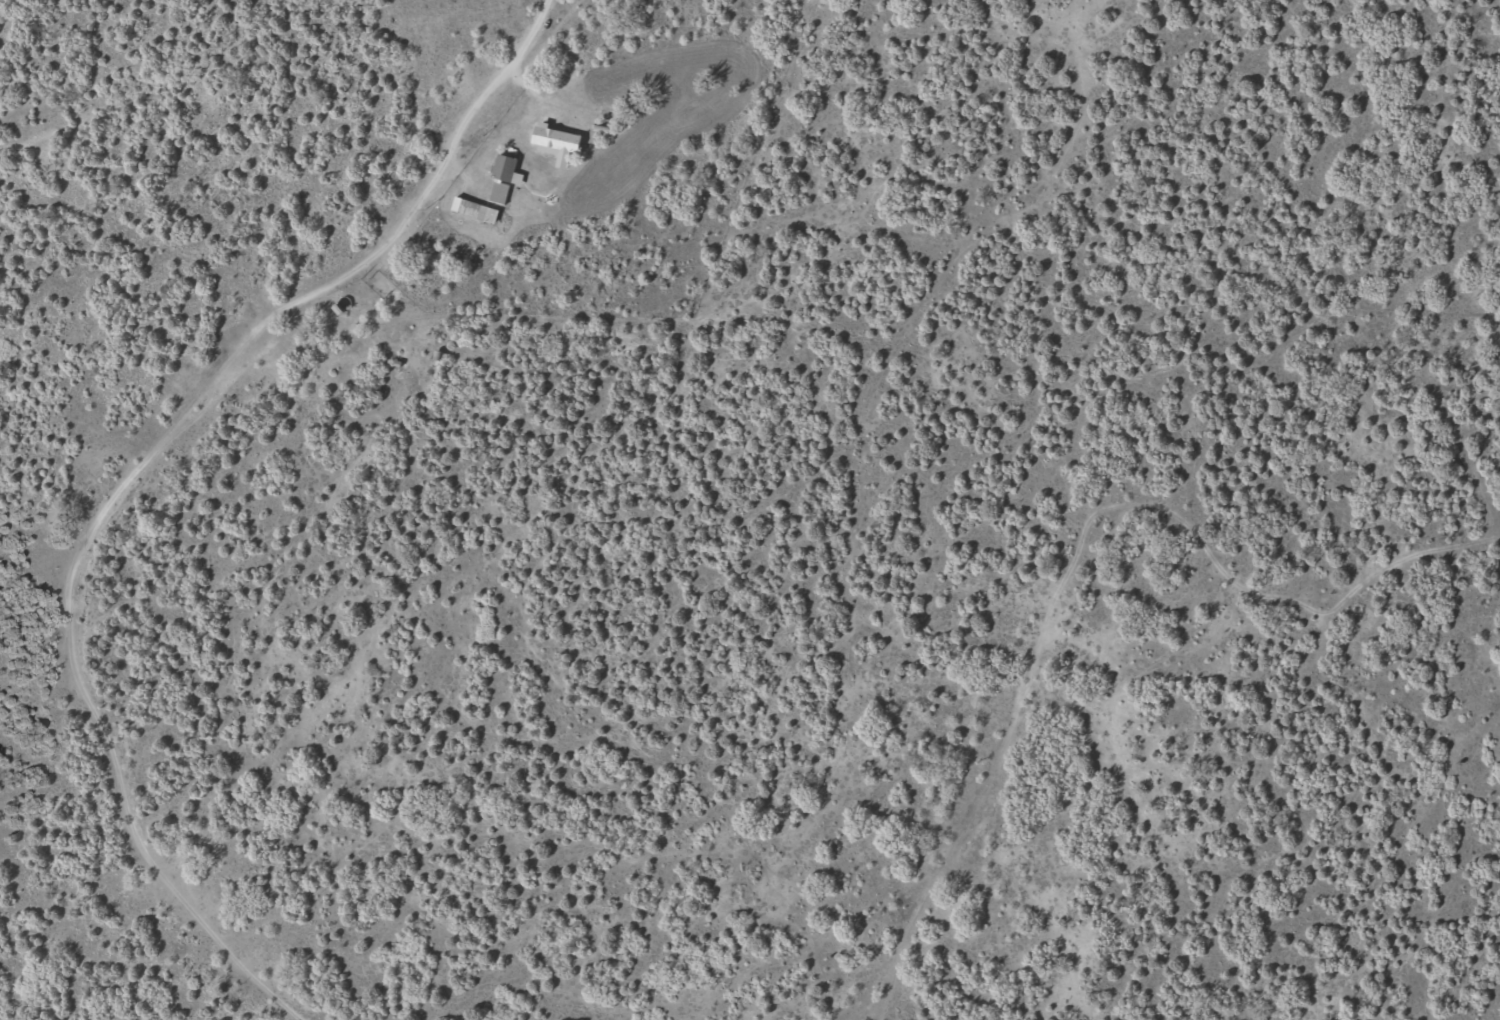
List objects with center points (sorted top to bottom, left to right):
building: (560, 139)
building: (506, 178)
building: (481, 210)

